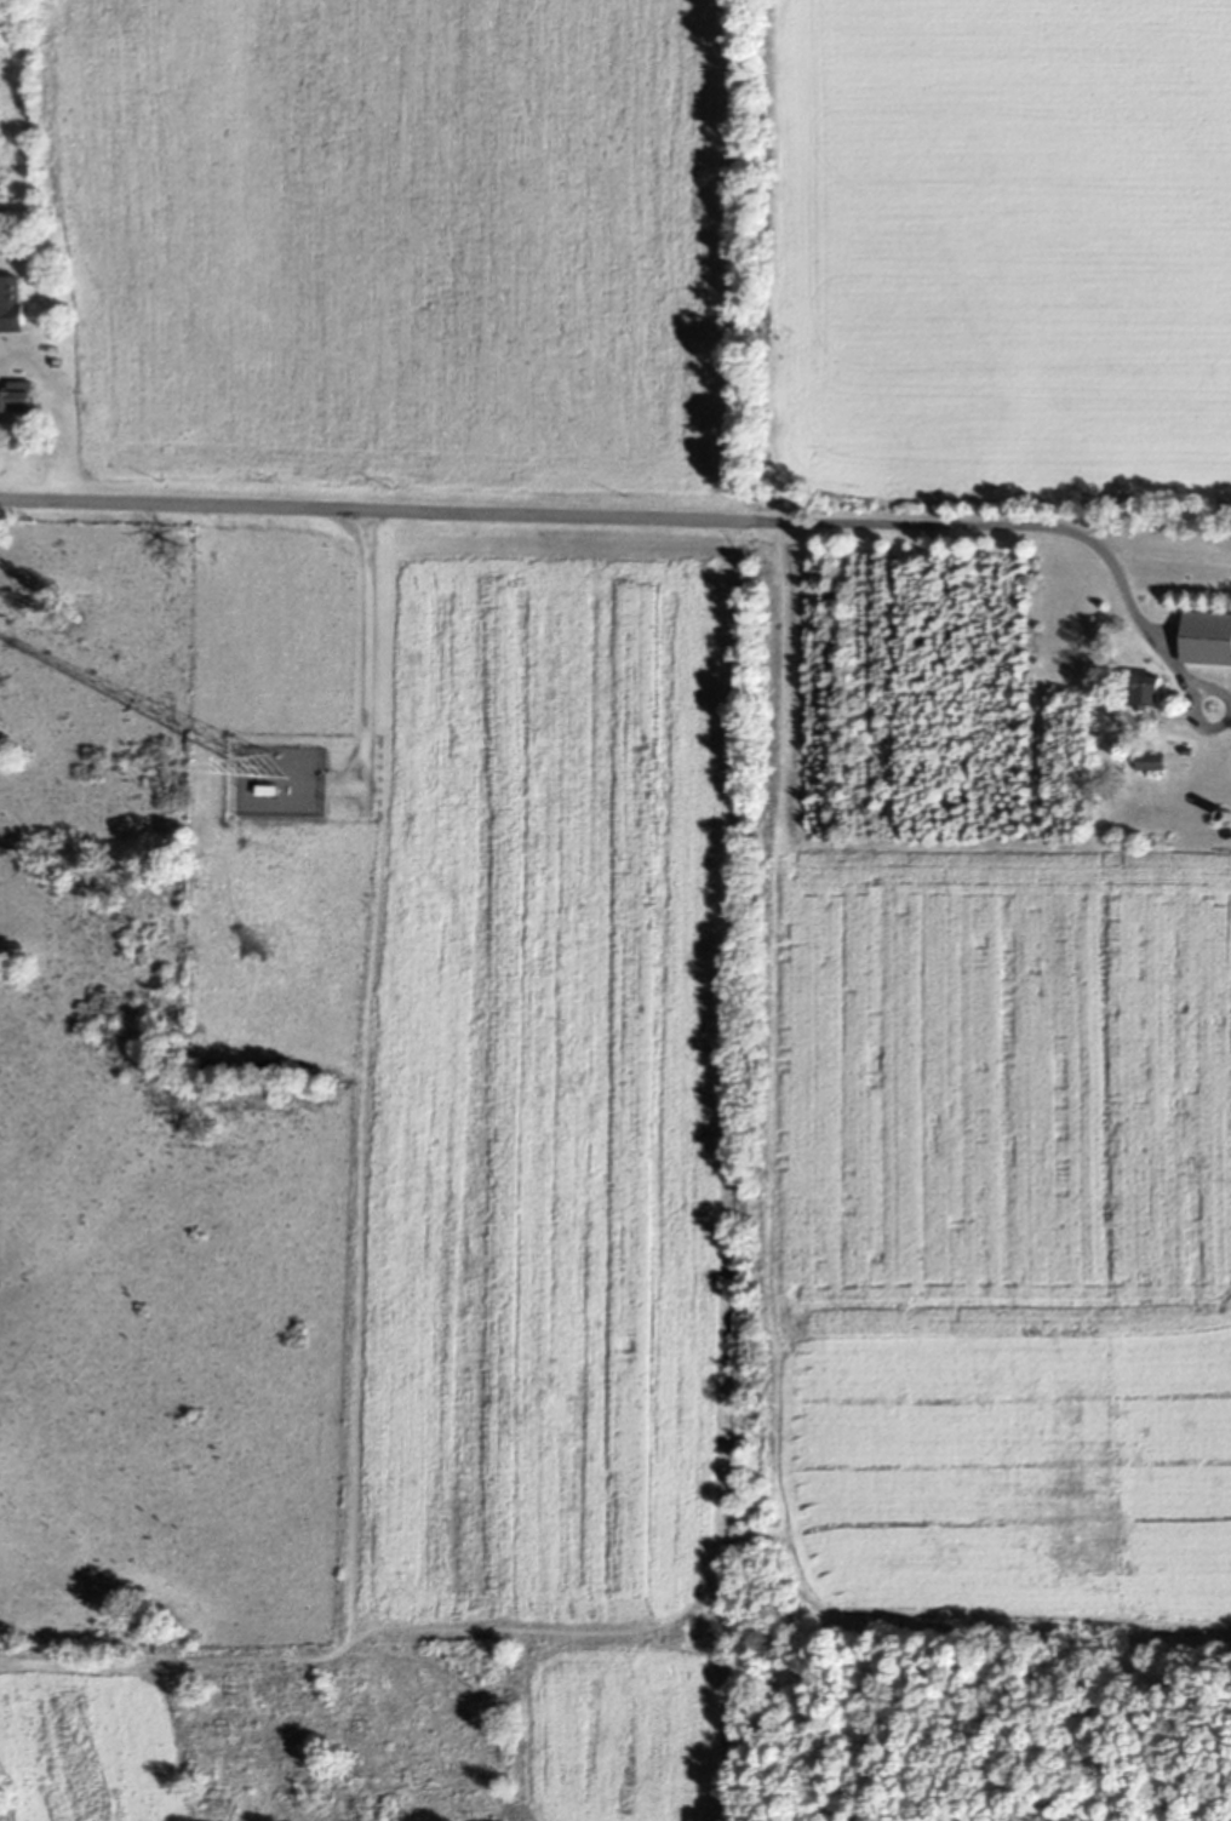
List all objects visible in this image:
building: (12, 304)
building: (16, 397)
road: (526, 519)
road: (1134, 608)
building: (1207, 639)
road: (371, 653)
building: (1150, 693)

